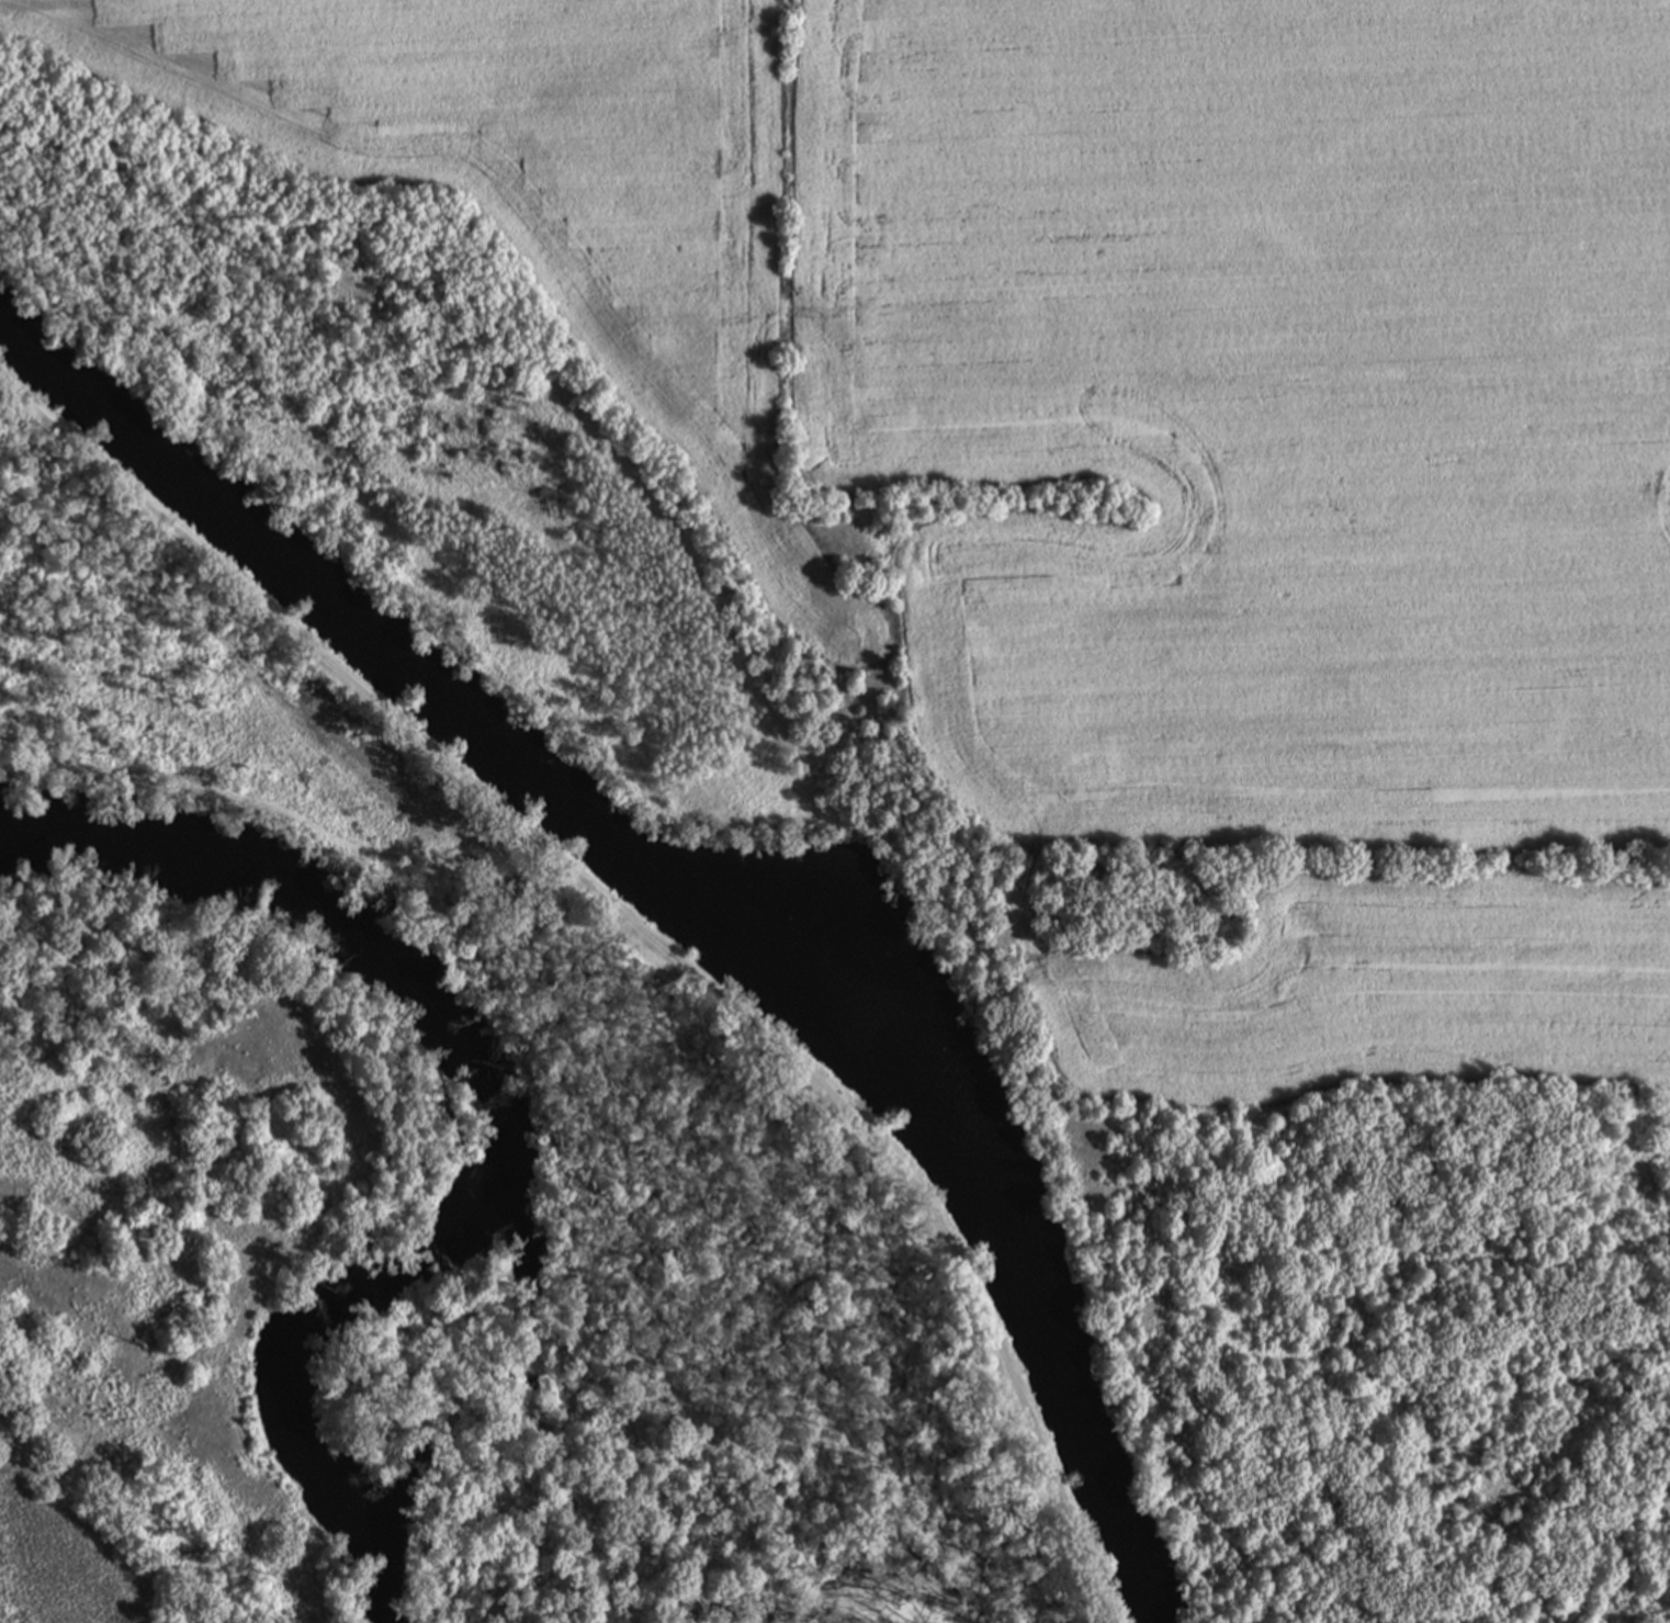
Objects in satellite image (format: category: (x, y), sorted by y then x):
river: (303, 589)
road: (647, 931)
river: (475, 1117)
river: (973, 1186)

